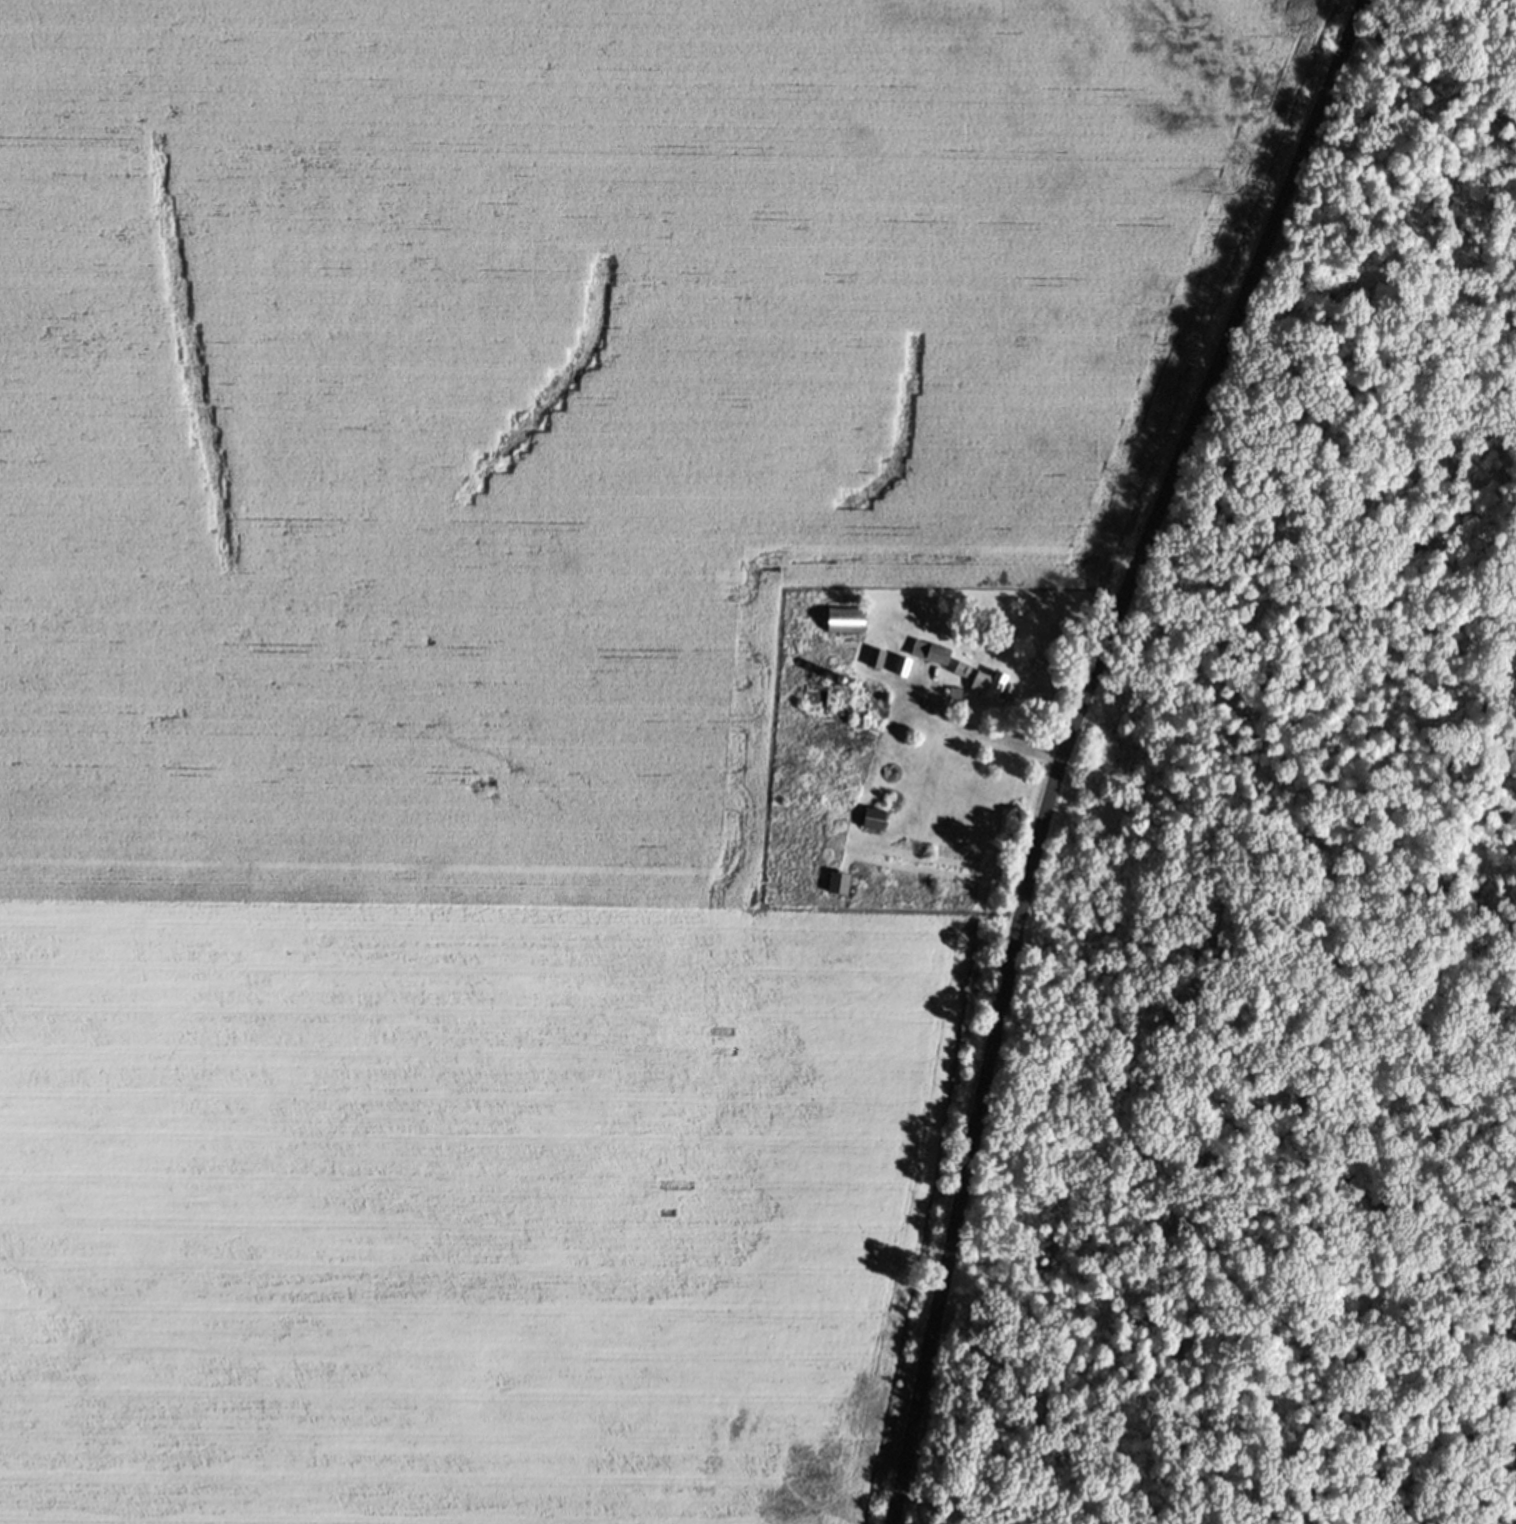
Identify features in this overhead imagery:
building: (931, 661)
building: (981, 689)
building: (844, 711)
road: (984, 734)
road: (1065, 743)
building: (872, 827)
building: (840, 891)

